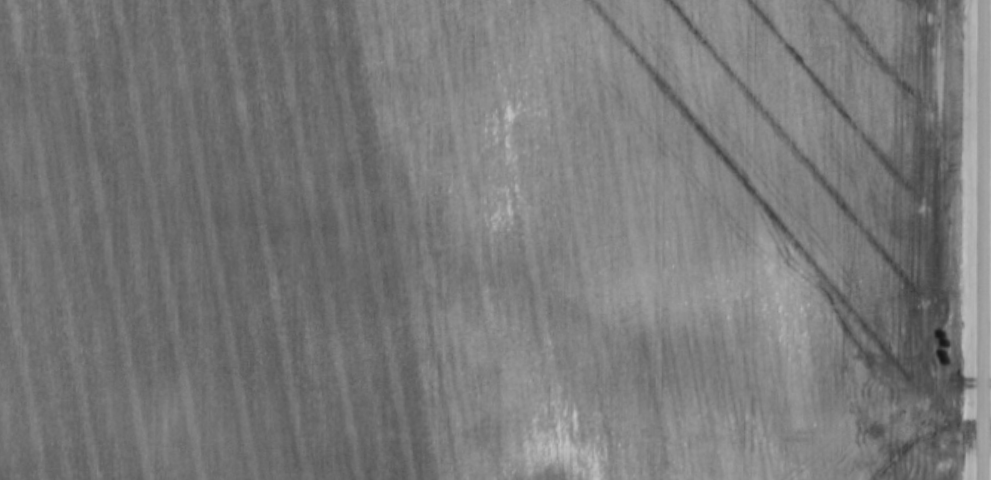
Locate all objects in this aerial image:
road: (984, 240)

